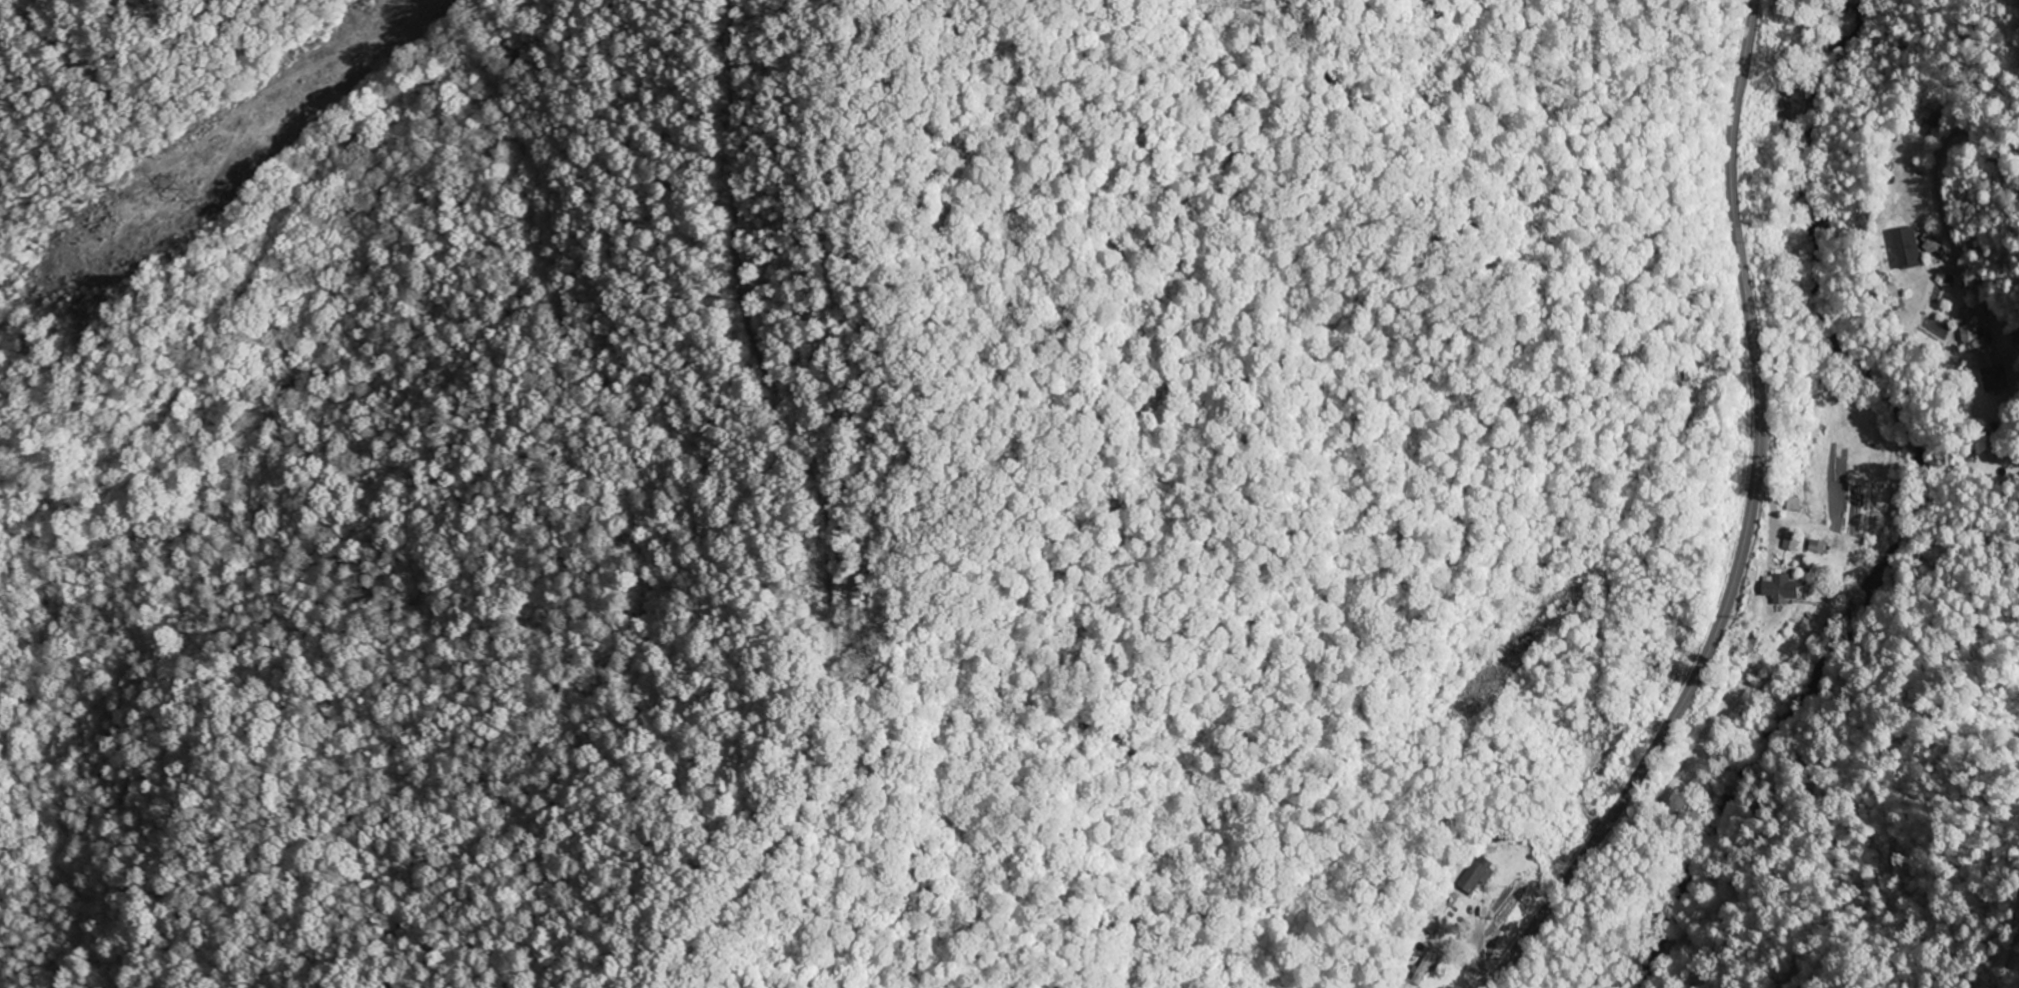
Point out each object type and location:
road: (1941, 153)
building: (1910, 249)
building: (1897, 302)
building: (1971, 330)
building: (1995, 373)
building: (1794, 505)
road: (1793, 525)
building: (1792, 542)
building: (1818, 547)
building: (1781, 589)

